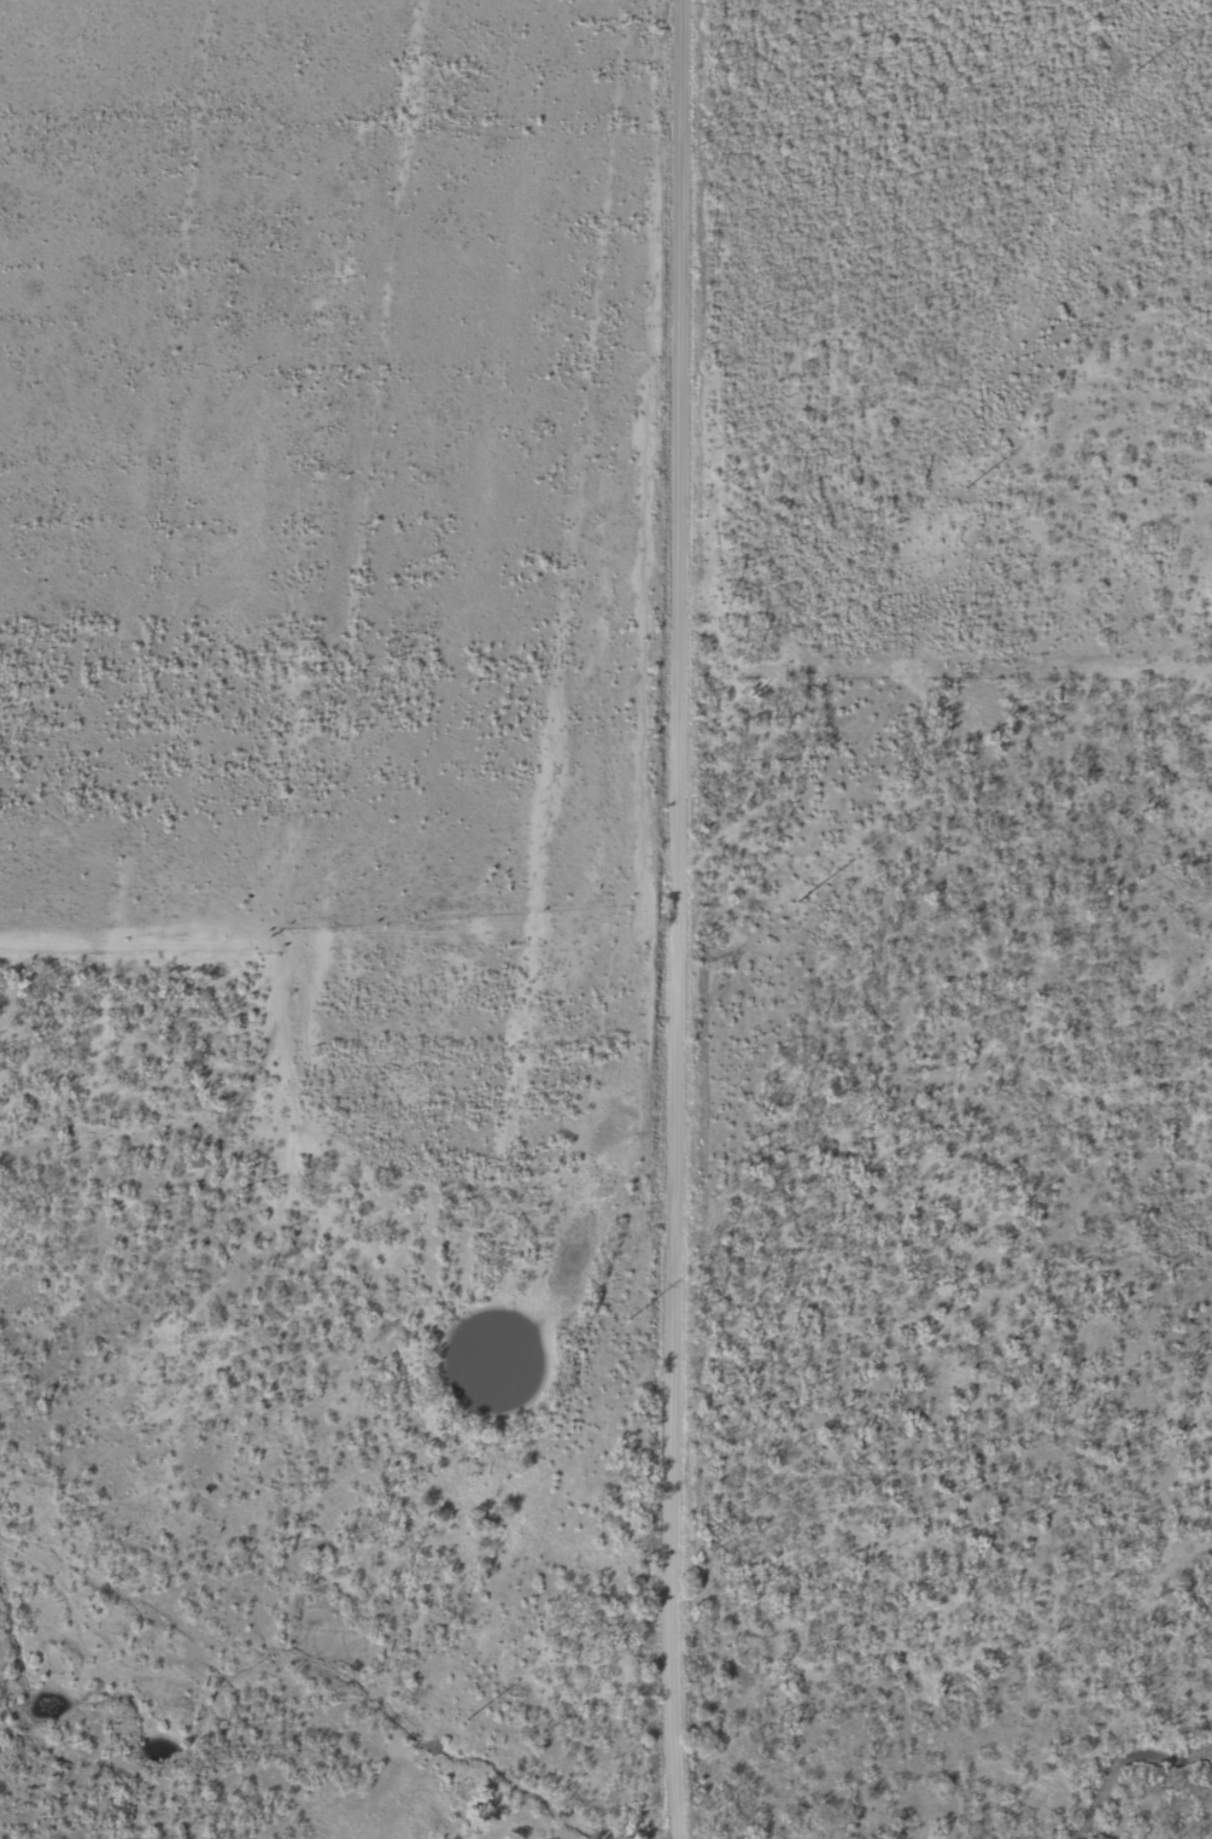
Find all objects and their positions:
power tower: (1137, 66)
power tower: (968, 481)
power tower: (801, 898)
road: (685, 920)
road: (213, 1262)
power tower: (632, 1312)
power tower: (463, 1728)

